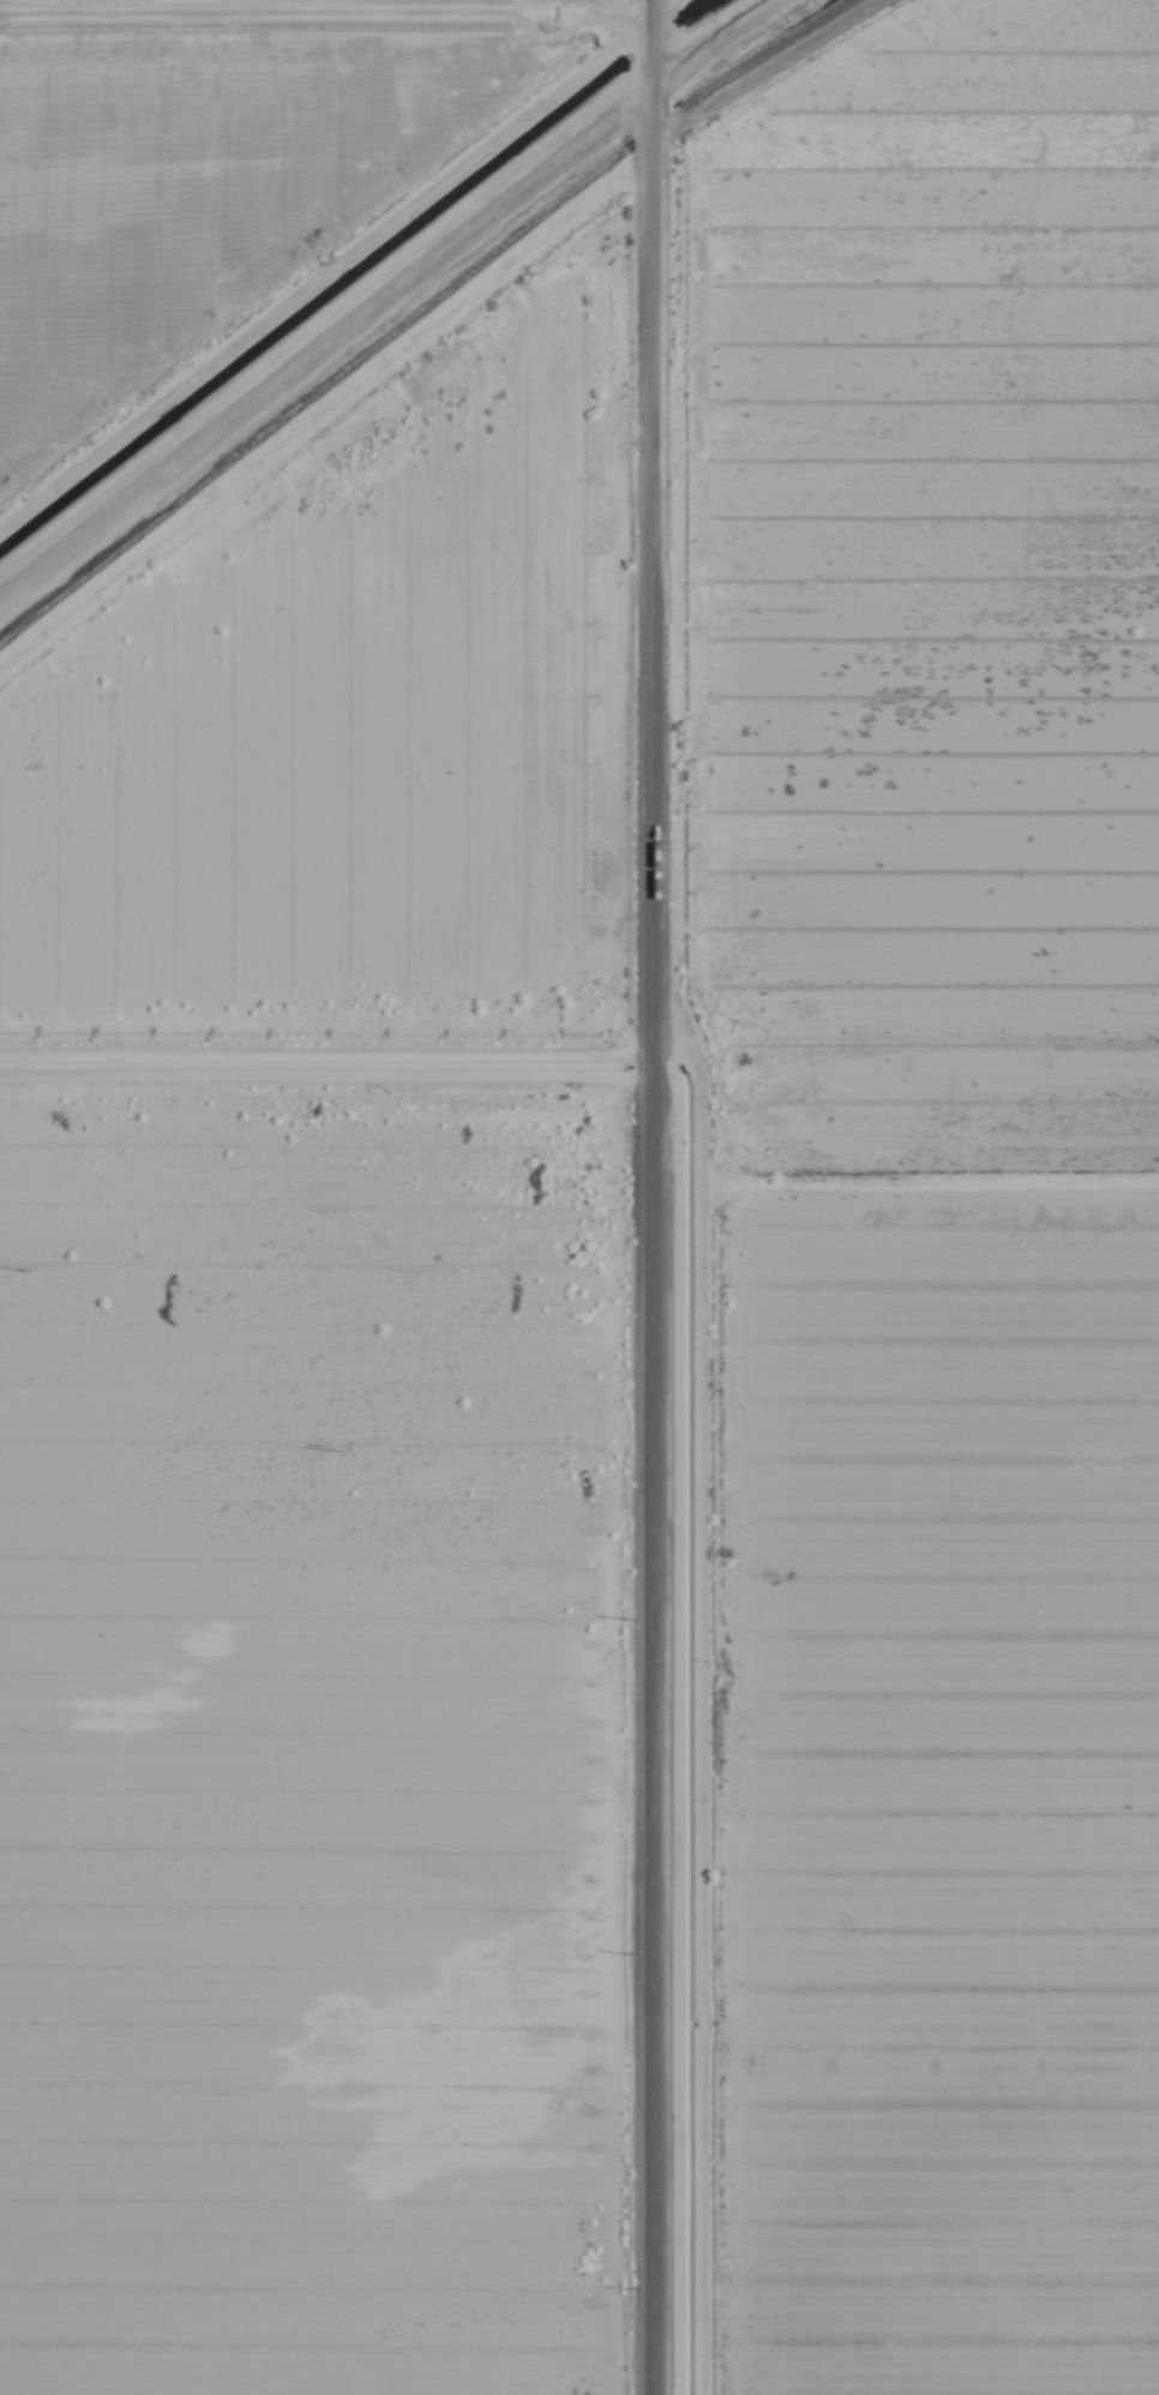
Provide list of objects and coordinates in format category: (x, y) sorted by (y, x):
road: (659, 1197)
crop: (290, 1200)

